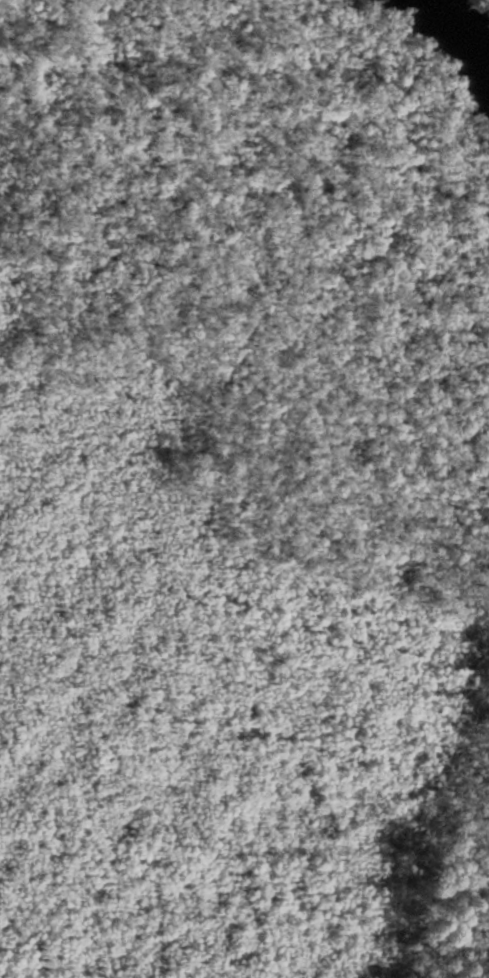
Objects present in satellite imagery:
river: (444, 40)

